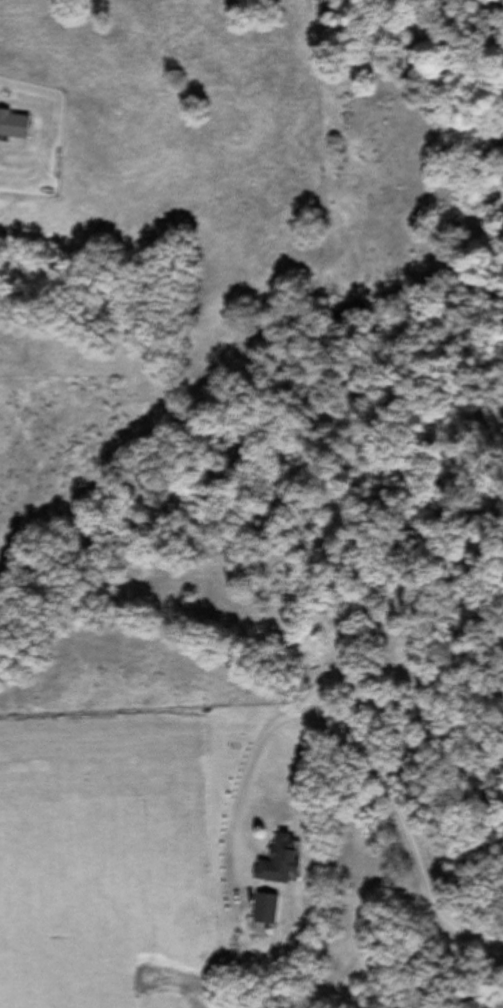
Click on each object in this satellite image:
building: (14, 126)
building: (277, 862)
building: (263, 911)

